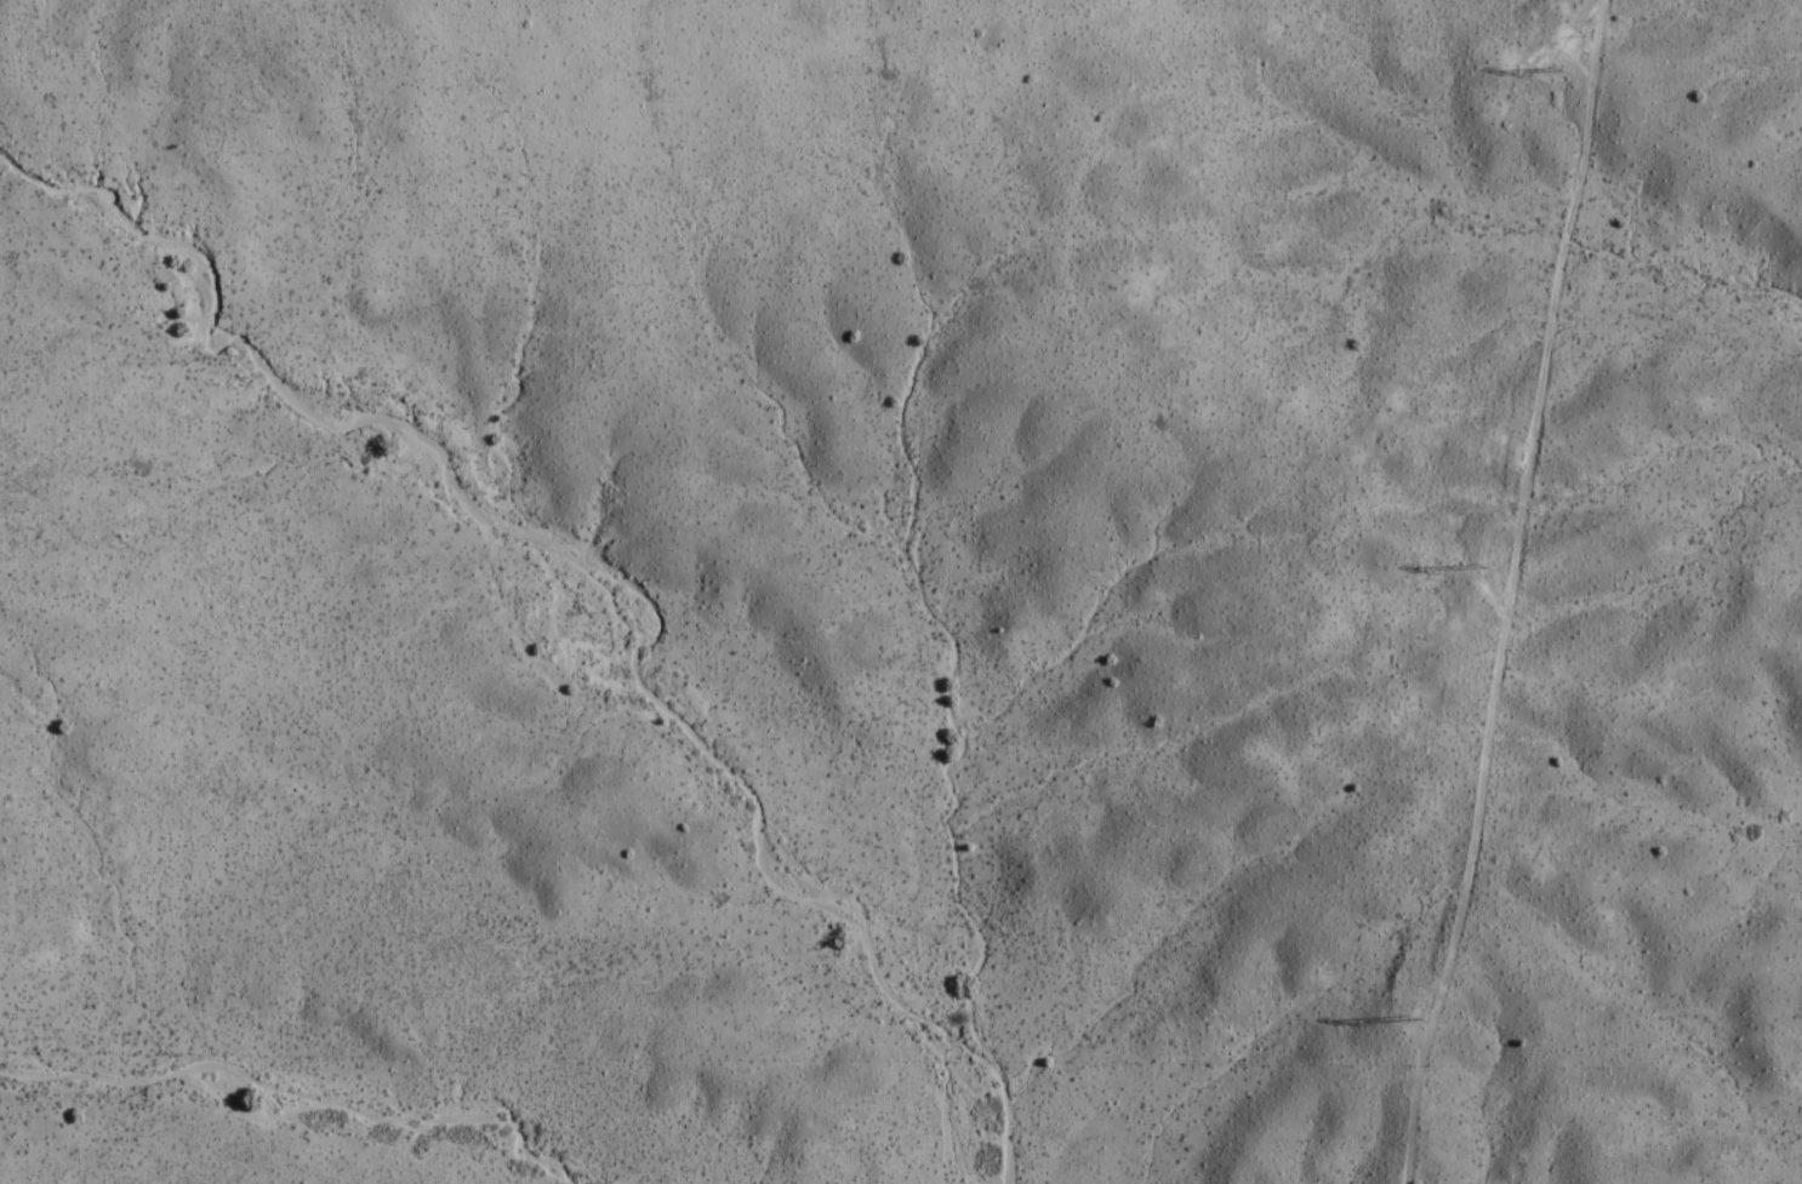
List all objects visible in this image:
power tower: (1564, 68)
power tower: (1489, 564)
power tower: (1419, 1016)

